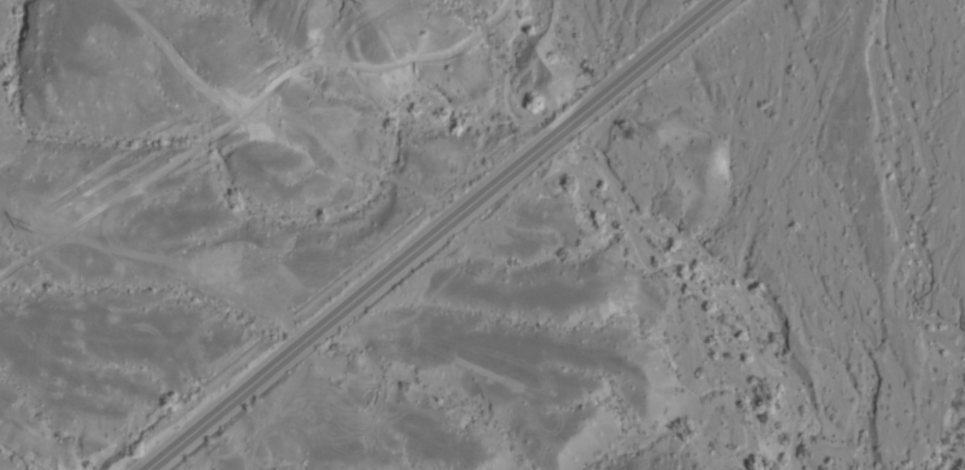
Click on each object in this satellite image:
power tower: (374, 3)
power tower: (34, 233)
road: (438, 235)

